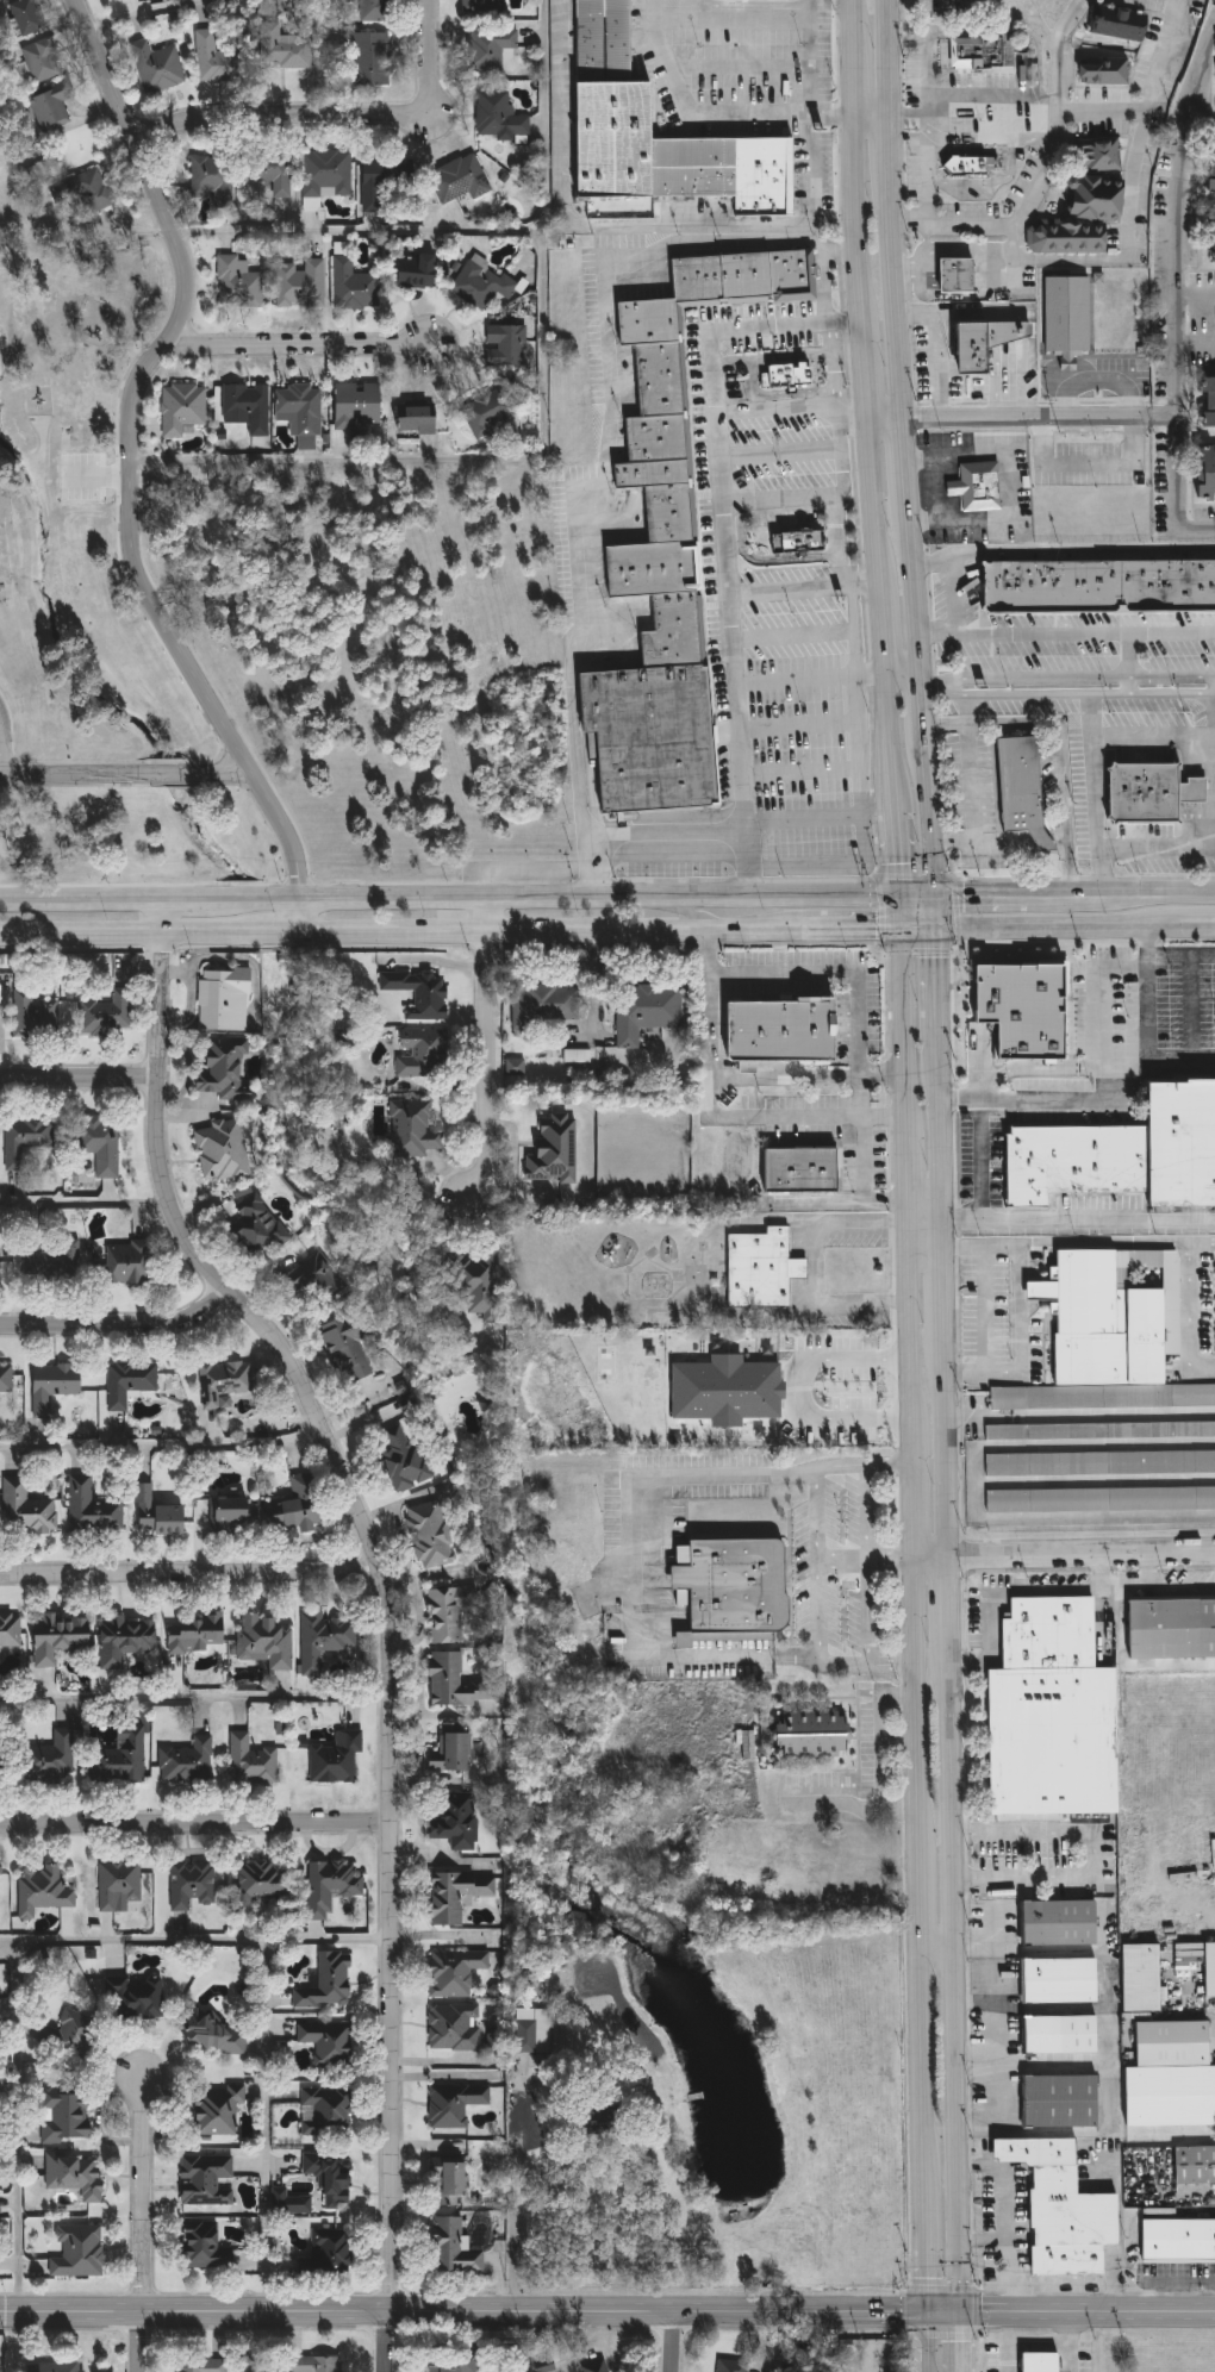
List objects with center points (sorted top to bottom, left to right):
building: (480, 5)
building: (373, 10)
road: (147, 12)
building: (26, 17)
road: (859, 23)
building: (1119, 23)
road: (986, 27)
road: (1063, 46)
building: (283, 48)
building: (490, 50)
building: (980, 51)
road: (809, 55)
road: (892, 56)
building: (217, 58)
building: (370, 58)
building: (43, 60)
road: (740, 64)
building: (160, 69)
building: (1104, 70)
road: (860, 79)
road: (983, 94)
building: (51, 105)
building: (613, 110)
road: (717, 110)
road: (877, 112)
building: (499, 113)
road: (910, 113)
road: (335, 119)
road: (1201, 130)
road: (991, 139)
road: (895, 150)
building: (1102, 157)
road: (928, 164)
building: (971, 167)
building: (1213, 170)
building: (273, 173)
building: (326, 173)
building: (212, 179)
building: (460, 179)
building: (384, 180)
road: (987, 181)
building: (83, 189)
park: (17, 192)
road: (812, 193)
road: (1133, 198)
road: (1029, 204)
road: (914, 217)
building: (1080, 218)
road: (865, 220)
road: (580, 225)
road: (970, 249)
building: (1214, 251)
road: (914, 262)
building: (958, 274)
building: (418, 275)
building: (743, 275)
building: (487, 281)
building: (237, 282)
building: (301, 282)
road: (825, 282)
building: (354, 285)
road: (1195, 294)
road: (902, 301)
road: (1174, 304)
building: (1067, 318)
building: (649, 319)
building: (506, 344)
parking lot: (772, 344)
building: (990, 344)
road: (1195, 344)
road: (297, 349)
road: (833, 366)
road: (872, 370)
road: (546, 372)
building: (786, 373)
building: (661, 376)
building: (1210, 401)
building: (357, 404)
building: (249, 405)
building: (185, 407)
building: (299, 407)
road: (775, 408)
road: (855, 410)
building: (484, 411)
road: (891, 412)
road: (1029, 414)
road: (1164, 414)
building: (417, 420)
road: (609, 426)
building: (658, 435)
road: (1140, 437)
road: (780, 449)
parking lot: (783, 452)
road: (910, 460)
road: (1070, 461)
road: (126, 467)
building: (653, 470)
building: (1207, 473)
park: (73, 482)
road: (1009, 482)
building: (978, 486)
road: (834, 495)
road: (723, 497)
road: (879, 499)
park: (76, 503)
building: (671, 511)
road: (779, 512)
building: (797, 538)
road: (1064, 550)
parking lot: (712, 566)
building: (653, 567)
building: (1098, 582)
road: (808, 587)
road: (918, 592)
building: (674, 630)
road: (887, 630)
road: (1067, 632)
road: (1132, 662)
road: (866, 674)
road: (1068, 675)
road: (906, 676)
road: (791, 680)
road: (1007, 692)
road: (1153, 693)
road: (858, 698)
road: (924, 709)
parking lot: (803, 711)
road: (1027, 722)
road: (964, 724)
road: (892, 729)
building: (652, 734)
road: (4, 751)
road: (127, 776)
building: (1020, 785)
building: (1149, 792)
road: (1098, 797)
road: (897, 798)
road: (822, 816)
road: (934, 816)
road: (671, 828)
road: (1158, 849)
road: (901, 853)
road: (749, 859)
road: (596, 864)
road: (835, 867)
parking lot: (674, 872)
traffic signals: (903, 895)
road: (921, 895)
road: (557, 897)
traffic signals: (940, 897)
road: (83, 898)
road: (189, 898)
road: (1005, 900)
road: (1159, 903)
road: (1088, 904)
road: (904, 910)
road: (684, 911)
road: (941, 911)
road: (837, 925)
traffic signals: (905, 925)
road: (924, 925)
traffic signals: (943, 925)
road: (1060, 925)
road: (1197, 926)
road: (537, 928)
road: (278, 930)
road: (125, 931)
road: (1164, 957)
road: (943, 985)
building: (422, 992)
building: (225, 999)
building: (548, 1005)
building: (1022, 1005)
building: (648, 1012)
building: (108, 1015)
building: (36, 1016)
building: (785, 1030)
road: (908, 1032)
road: (859, 1036)
road: (1148, 1040)
building: (424, 1053)
road: (488, 1055)
building: (577, 1055)
building: (515, 1067)
building: (228, 1072)
road: (809, 1075)
road: (80, 1081)
road: (1107, 1088)
road: (718, 1113)
building: (415, 1129)
road: (946, 1129)
building: (31, 1143)
building: (101, 1143)
building: (1124, 1146)
building: (556, 1150)
building: (224, 1151)
road: (983, 1166)
building: (804, 1169)
road: (910, 1178)
road: (83, 1203)
road: (929, 1216)
road: (1080, 1216)
road: (866, 1223)
building: (260, 1225)
road: (1089, 1242)
building: (52, 1261)
building: (130, 1263)
road: (812, 1263)
building: (0, 1268)
building: (764, 1269)
road: (1032, 1269)
building: (314, 1279)
building: (475, 1281)
road: (948, 1282)
road: (1041, 1288)
road: (867, 1300)
road: (1191, 1304)
road: (986, 1307)
road: (1033, 1309)
road: (1021, 1324)
road: (912, 1328)
building: (1113, 1330)
road: (124, 1335)
building: (351, 1344)
building: (7, 1378)
building: (226, 1381)
building: (132, 1382)
building: (55, 1387)
building: (727, 1390)
building: (1102, 1431)
road: (160, 1432)
road: (949, 1456)
building: (405, 1457)
building: (1101, 1463)
road: (708, 1477)
building: (1101, 1499)
road: (914, 1503)
building: (299, 1506)
building: (94, 1508)
building: (30, 1510)
building: (233, 1513)
building: (158, 1515)
building: (432, 1534)
road: (866, 1556)
road: (1083, 1560)
road: (816, 1562)
road: (934, 1562)
road: (1149, 1571)
road: (382, 1574)
road: (1101, 1575)
road: (192, 1577)
road: (1114, 1585)
building: (737, 1586)
road: (1059, 1588)
road: (1170, 1590)
road: (952, 1609)
building: (450, 1612)
building: (1173, 1628)
building: (11, 1629)
road: (992, 1629)
building: (198, 1635)
building: (61, 1637)
building: (127, 1638)
building: (325, 1638)
building: (267, 1641)
road: (677, 1655)
road: (845, 1662)
road: (1129, 1665)
building: (460, 1683)
road: (195, 1694)
road: (917, 1714)
building: (1054, 1714)
building: (816, 1735)
road: (883, 1752)
building: (454, 1753)
building: (1, 1759)
building: (338, 1759)
building: (54, 1760)
building: (121, 1760)
building: (187, 1761)
building: (253, 1761)
building: (459, 1821)
road: (197, 1827)
road: (1097, 1855)
building: (1, 1881)
building: (120, 1884)
building: (193, 1884)
building: (262, 1884)
building: (332, 1885)
building: (45, 1891)
building: (459, 1895)
road: (920, 1904)
building: (1061, 1923)
road: (197, 1936)
road: (939, 1943)
building: (1211, 1970)
building: (456, 1972)
building: (1144, 1978)
building: (1063, 1980)
building: (534, 1981)
building: (325, 1984)
road: (957, 1985)
building: (139, 1998)
road: (977, 1999)
building: (456, 2027)
building: (535, 2030)
building: (76, 2033)
building: (1061, 2035)
building: (216, 2036)
building: (493, 2037)
road: (997, 2037)
road: (1108, 2041)
building: (331, 2043)
road: (978, 2053)
road: (922, 2055)
building: (1173, 2075)
building: (1063, 2102)
building: (456, 2105)
building: (219, 2110)
building: (328, 2112)
building: (67, 2117)
building: (606, 2122)
road: (269, 2124)
road: (19, 2126)
building: (1196, 2165)
road: (923, 2171)
building: (77, 2174)
building: (332, 2178)
building: (208, 2180)
building: (453, 2184)
building: (293, 2203)
road: (515, 2209)
building: (1065, 2209)
road: (144, 2224)
building: (1179, 2241)
road: (923, 2246)
building: (205, 2247)
building: (334, 2249)
building: (454, 2249)
building: (80, 2251)
road: (606, 2315)
traffic signals: (923, 2315)
traffic signals: (960, 2315)
road: (387, 2342)
road: (672, 2343)
road: (923, 2343)
road: (960, 2343)
road: (1071, 2343)
building: (454, 2362)
building: (1042, 2362)
building: (544, 2364)
building: (317, 2365)
building: (733, 2365)
building: (204, 2366)
building: (599, 2366)
building: (57, 2367)

